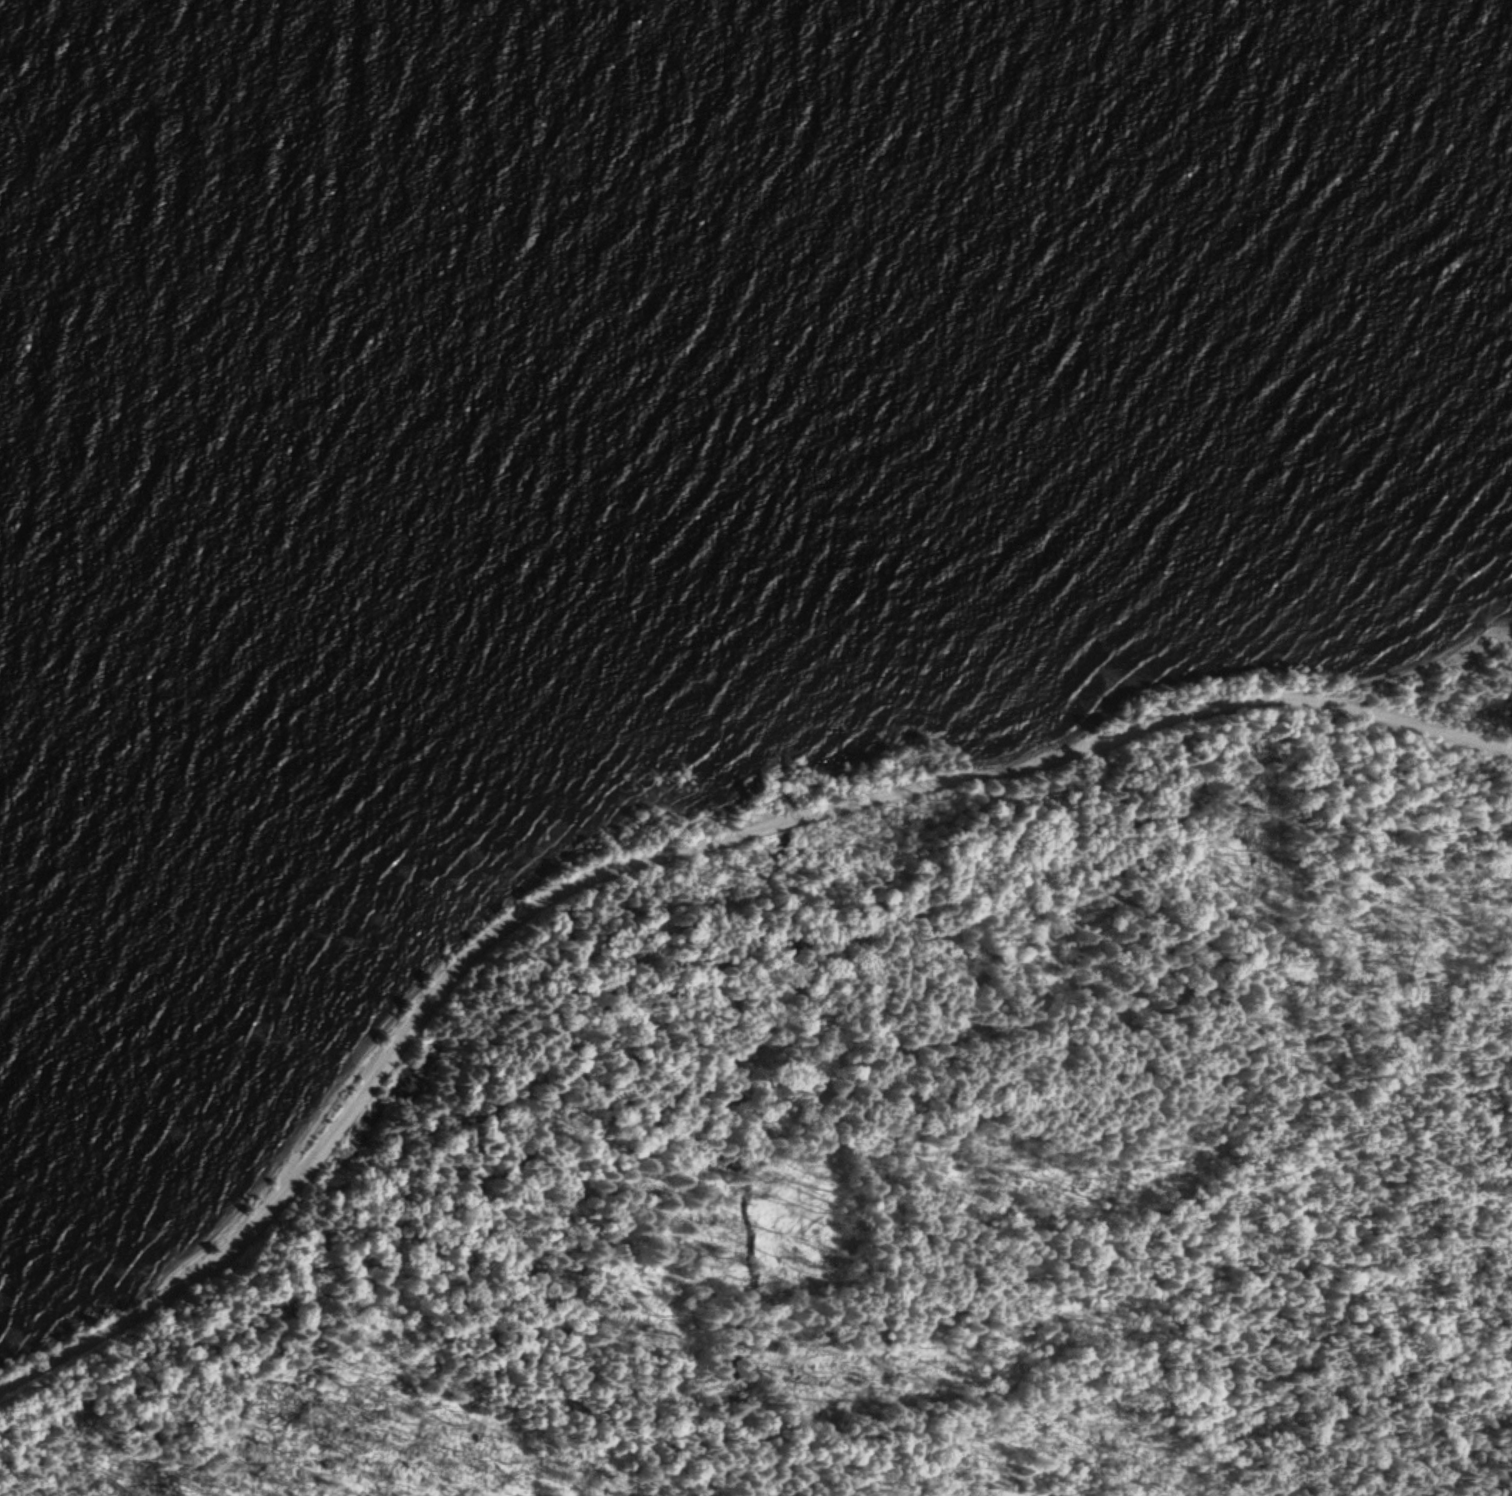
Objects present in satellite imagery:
road: (664, 853)
park: (847, 1059)

